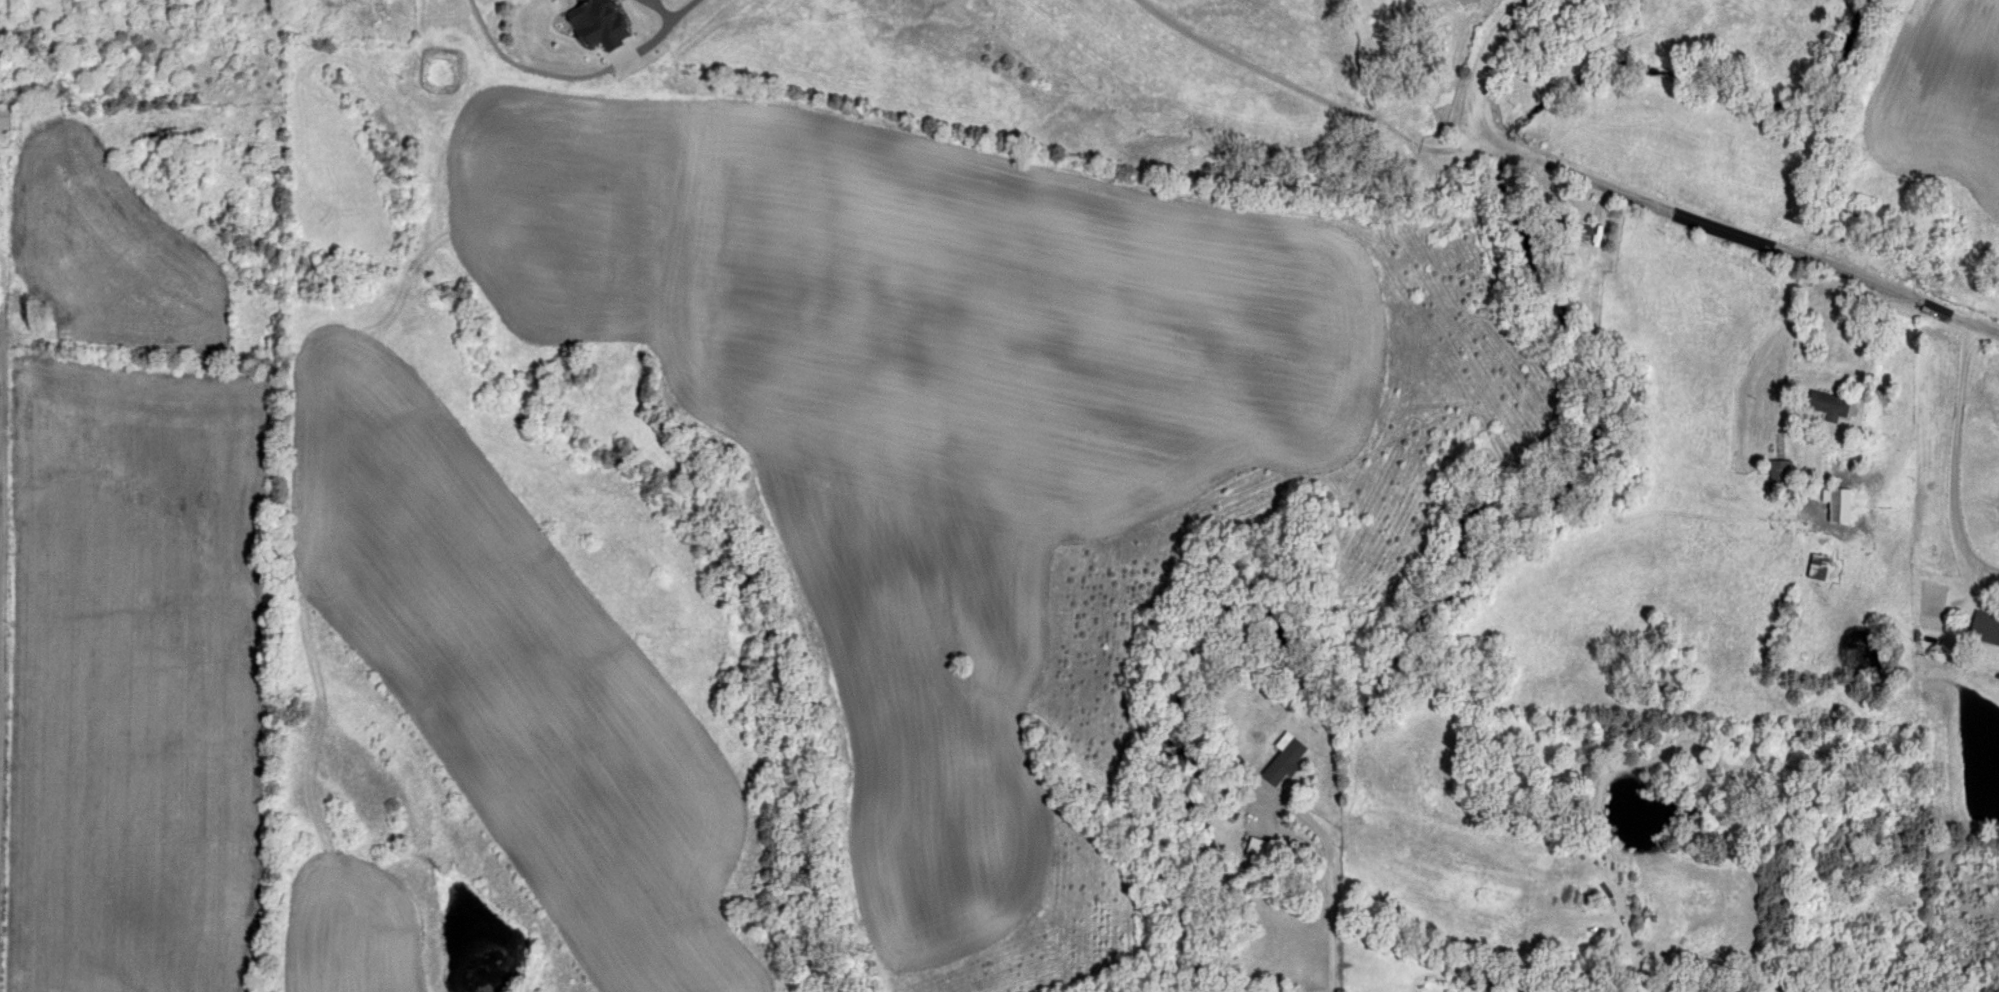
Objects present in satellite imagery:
road: (516, 65)
road: (1489, 69)
road: (1299, 87)
building: (6, 121)
road: (1721, 231)
building: (1597, 232)
road: (535, 293)
road: (1981, 330)
building: (1830, 405)
road: (1958, 460)
building: (1780, 474)
building: (1838, 503)
building: (1820, 566)
building: (1986, 626)
building: (1285, 762)
building: (1258, 847)
road: (1330, 914)

